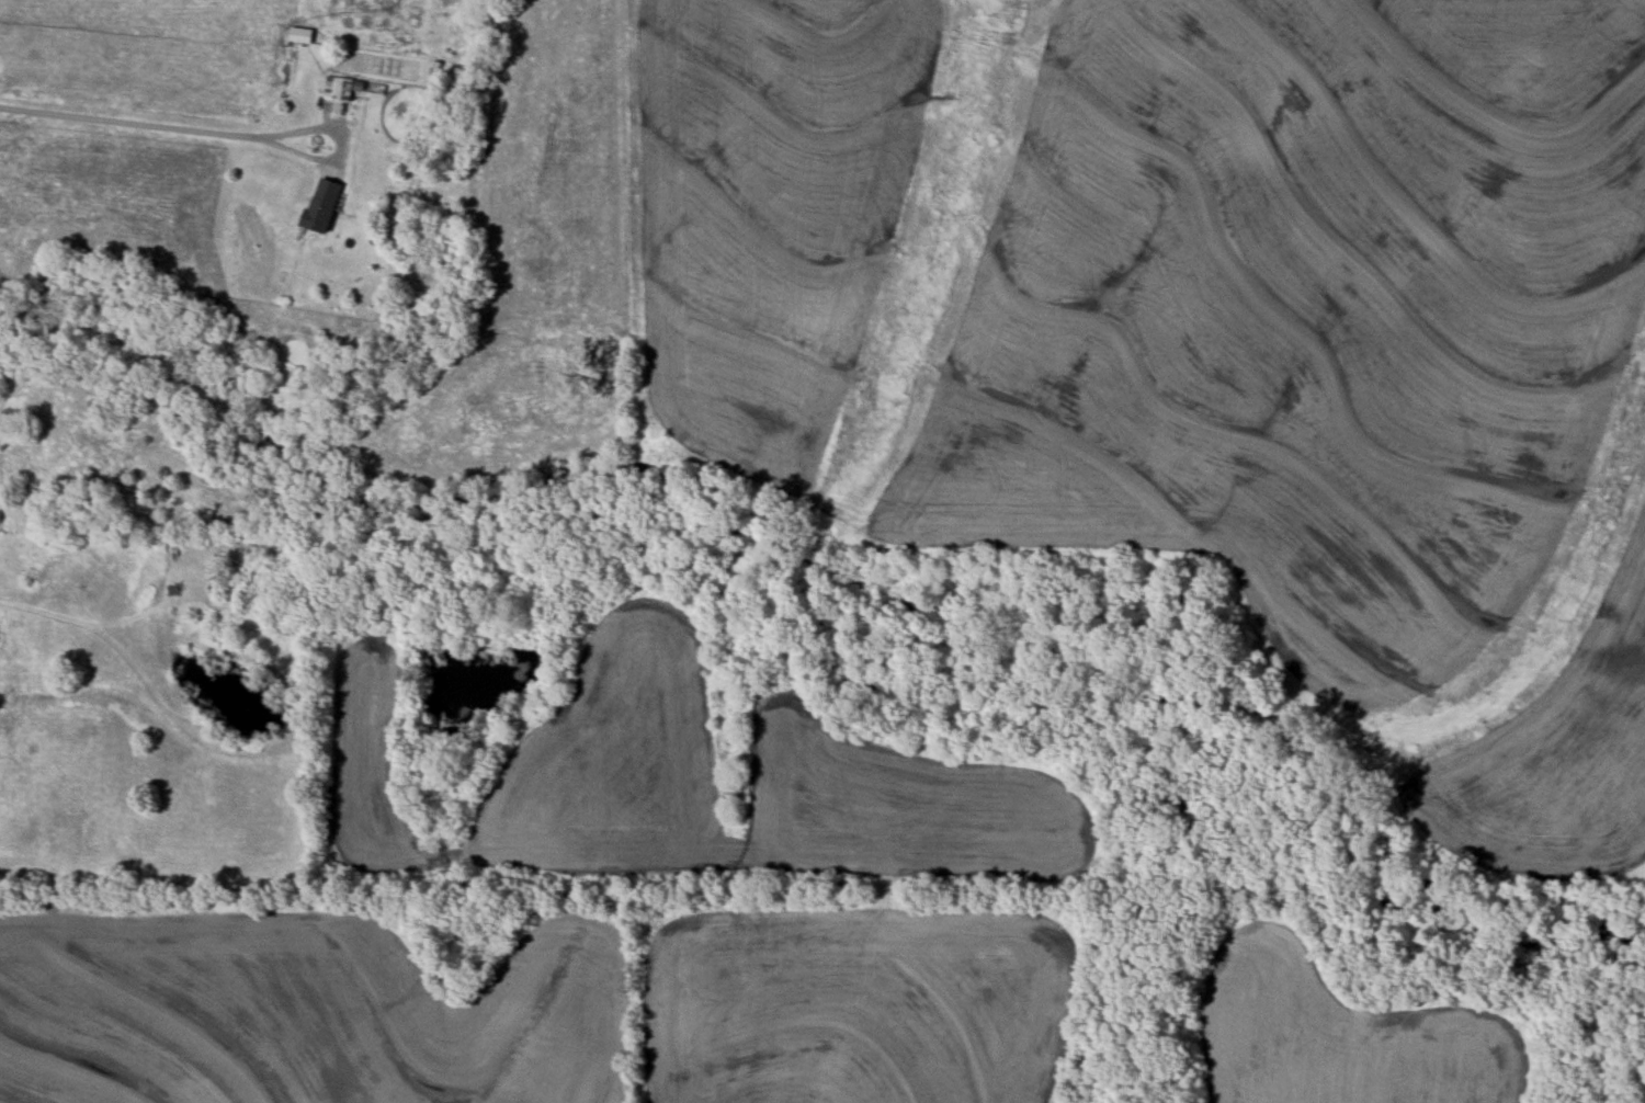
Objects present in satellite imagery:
building: (299, 34)
building: (337, 88)
road: (136, 123)
road: (322, 160)
building: (321, 205)

